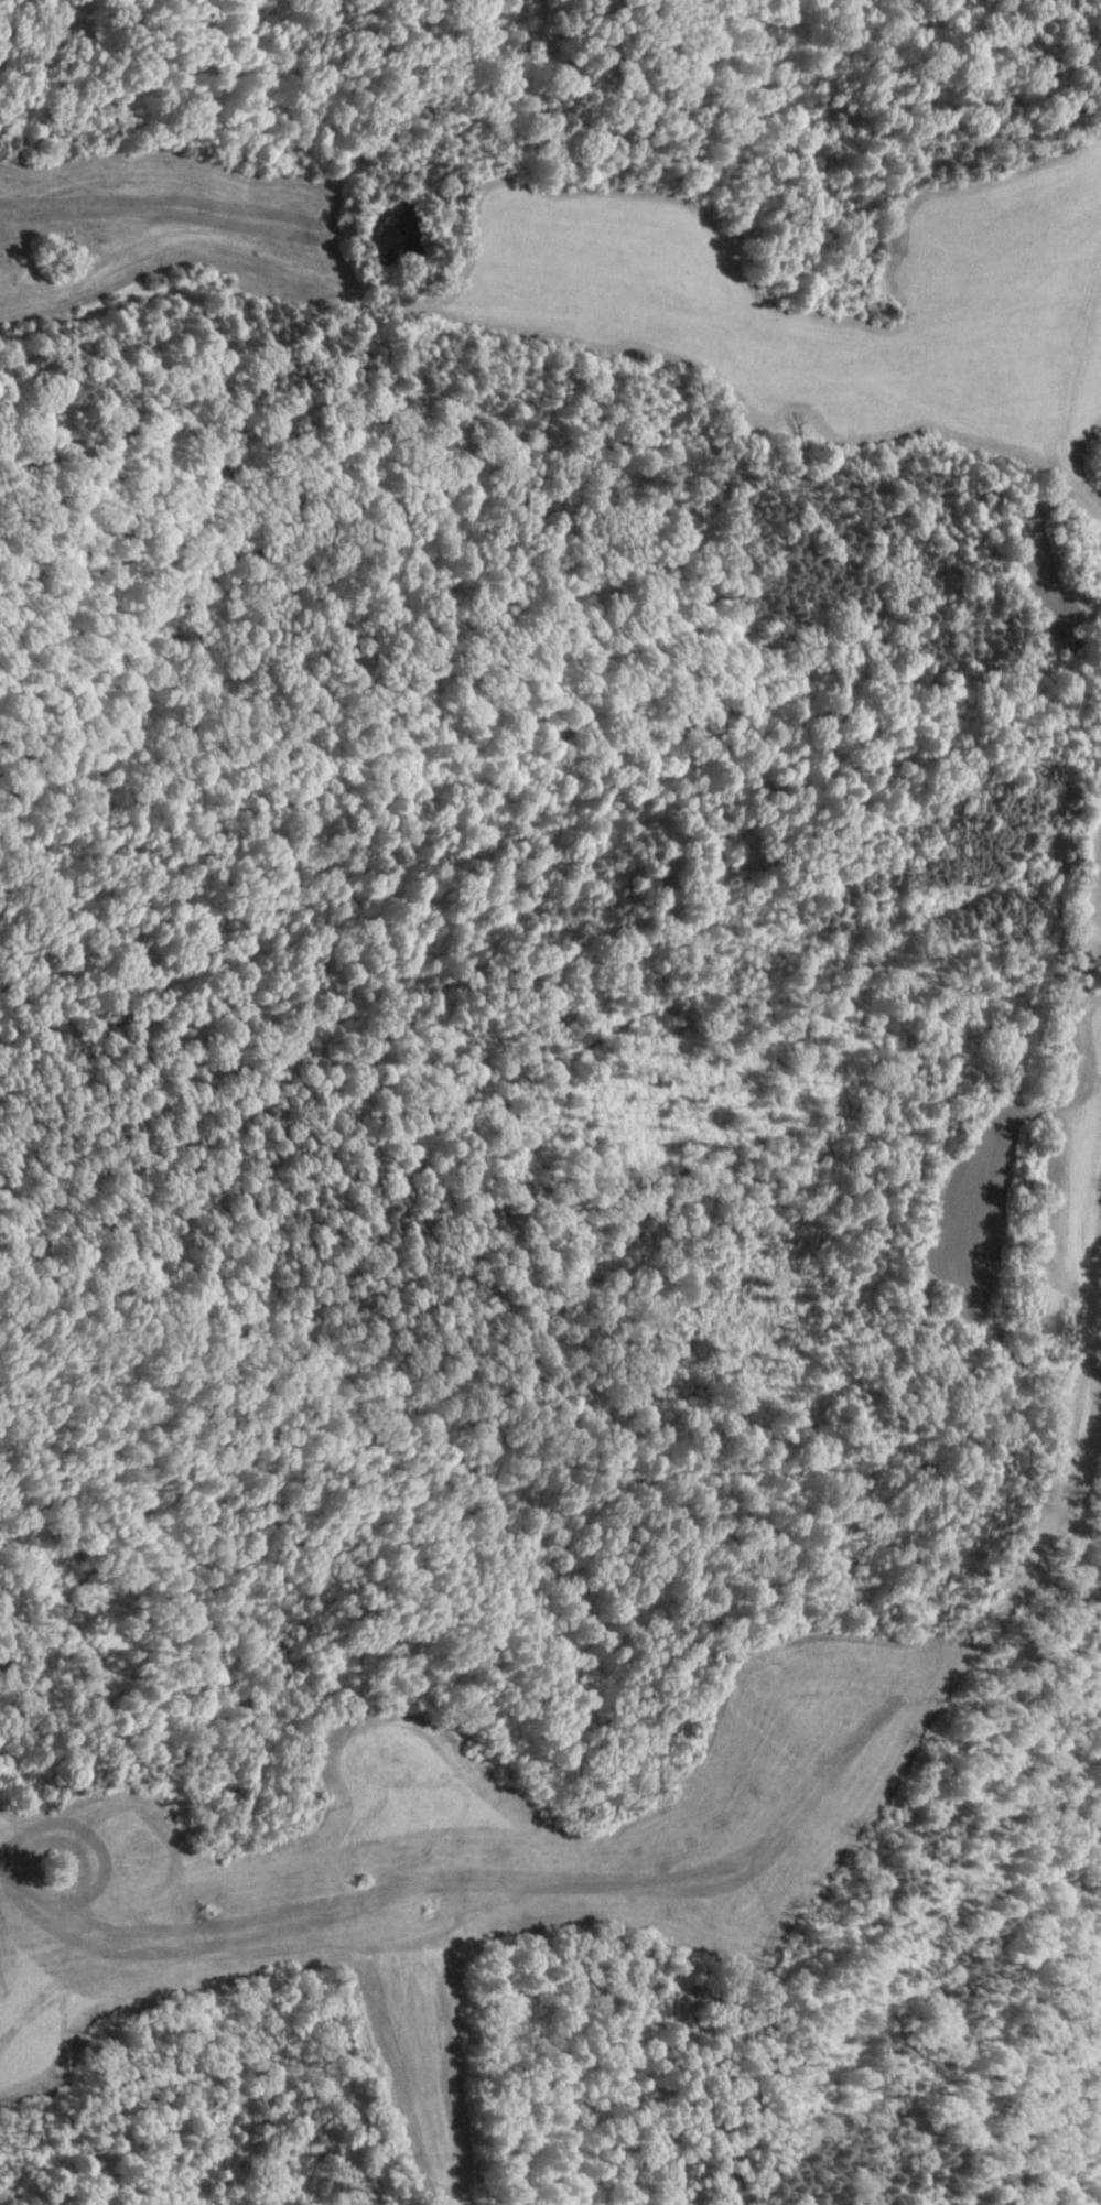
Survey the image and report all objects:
road: (1015, 1507)

